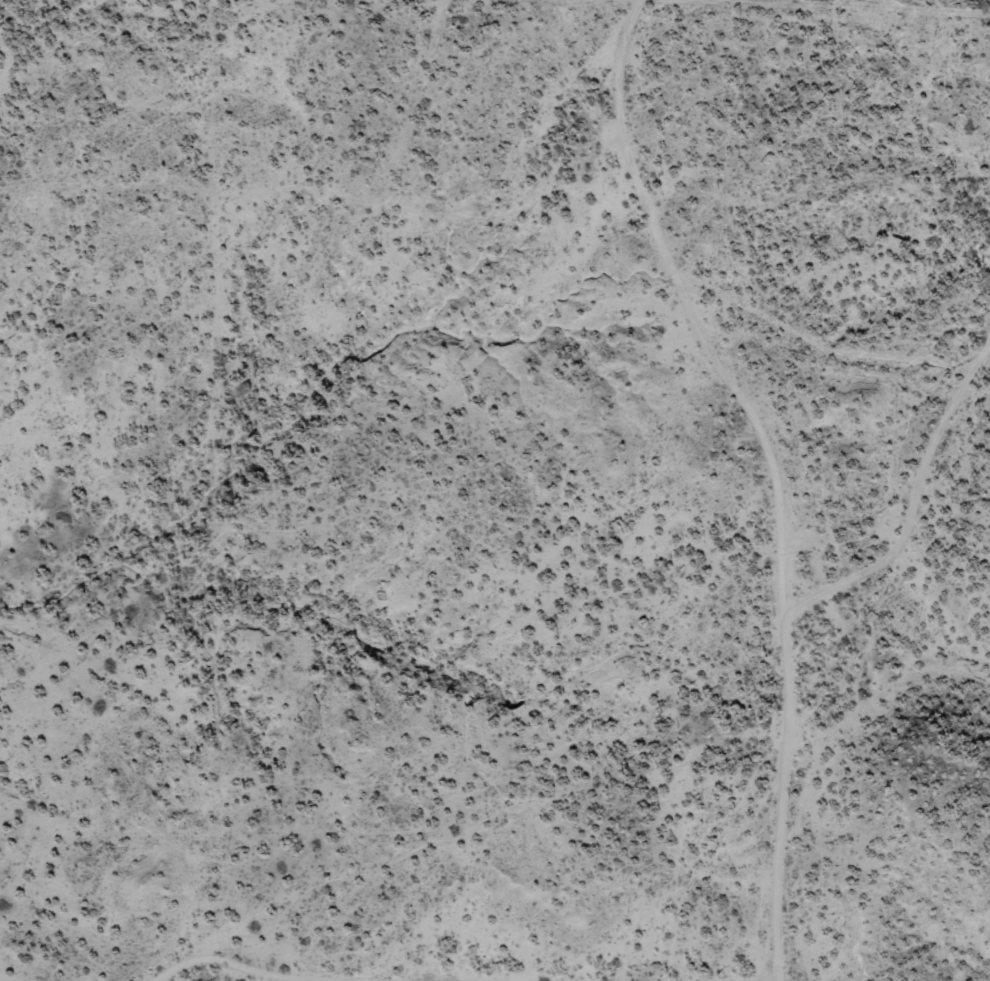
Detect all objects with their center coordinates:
road: (764, 474)

